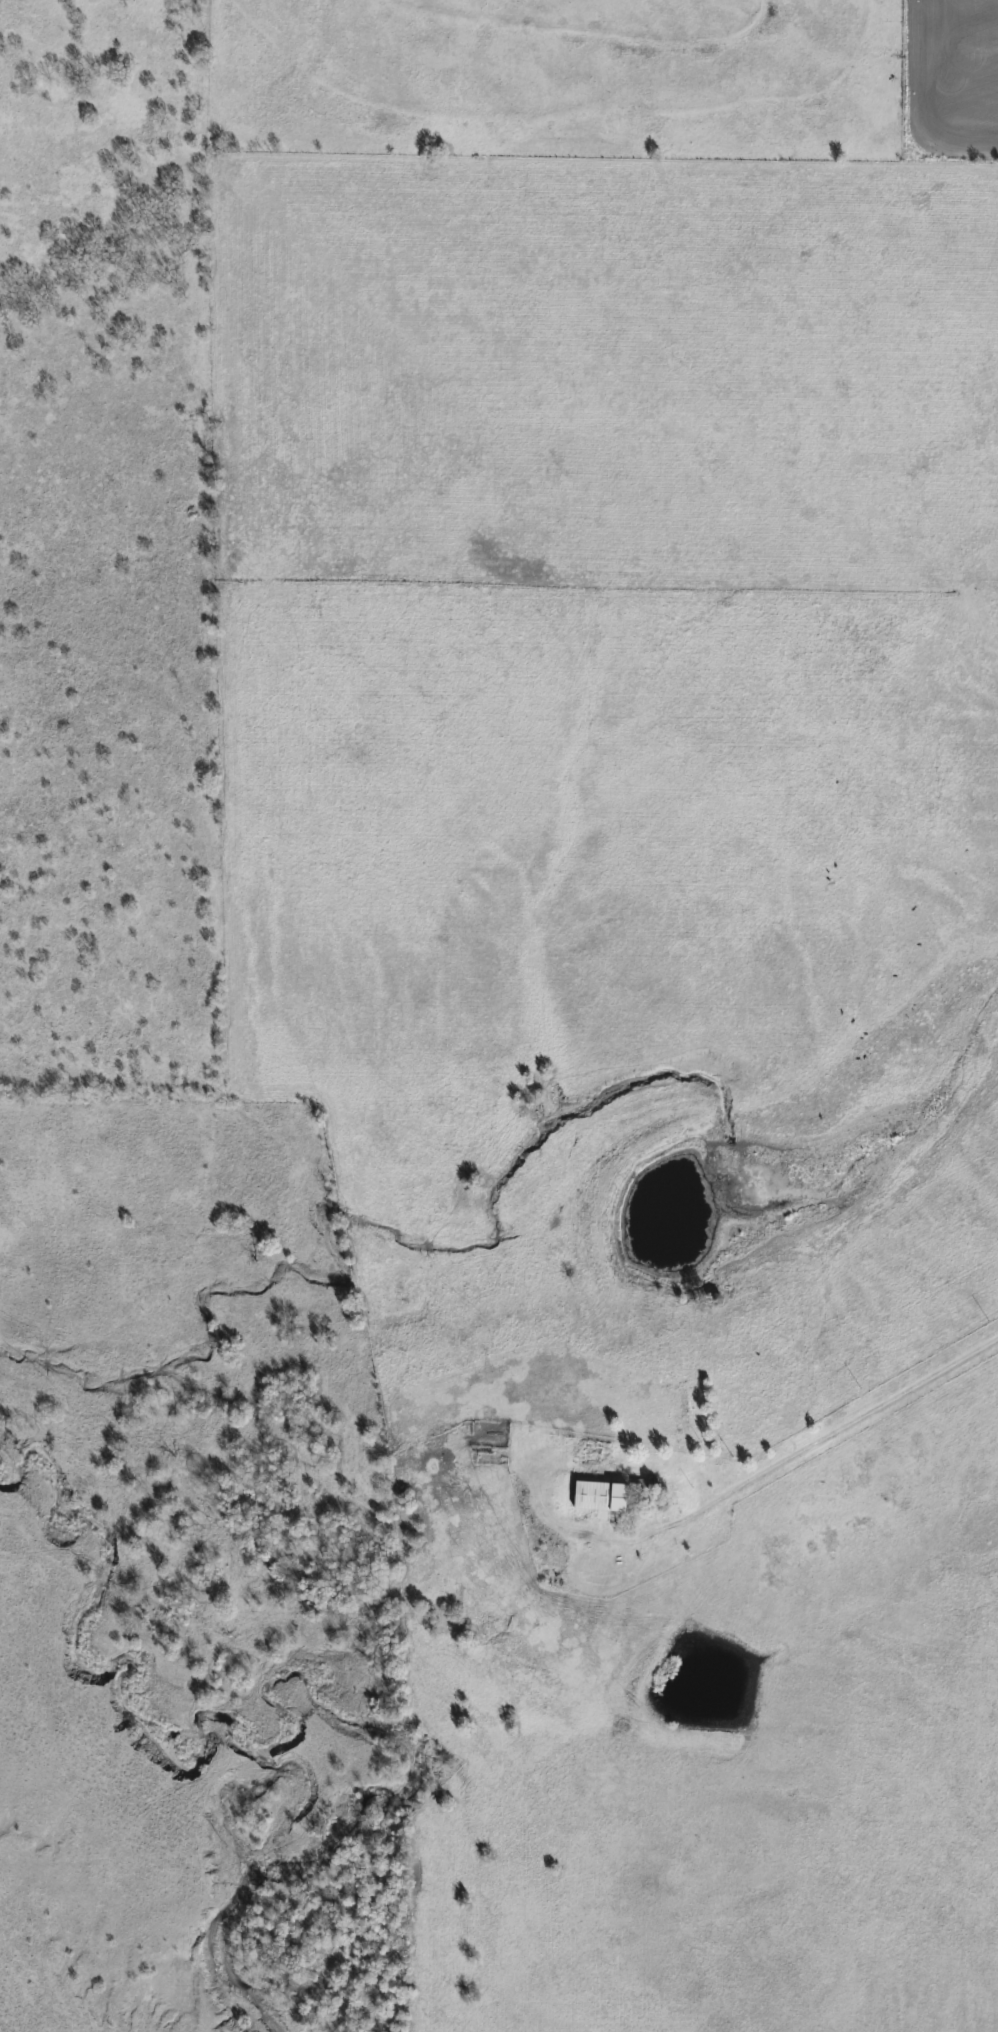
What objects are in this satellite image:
building: (680, 1407)
road: (823, 1435)
building: (596, 1495)

